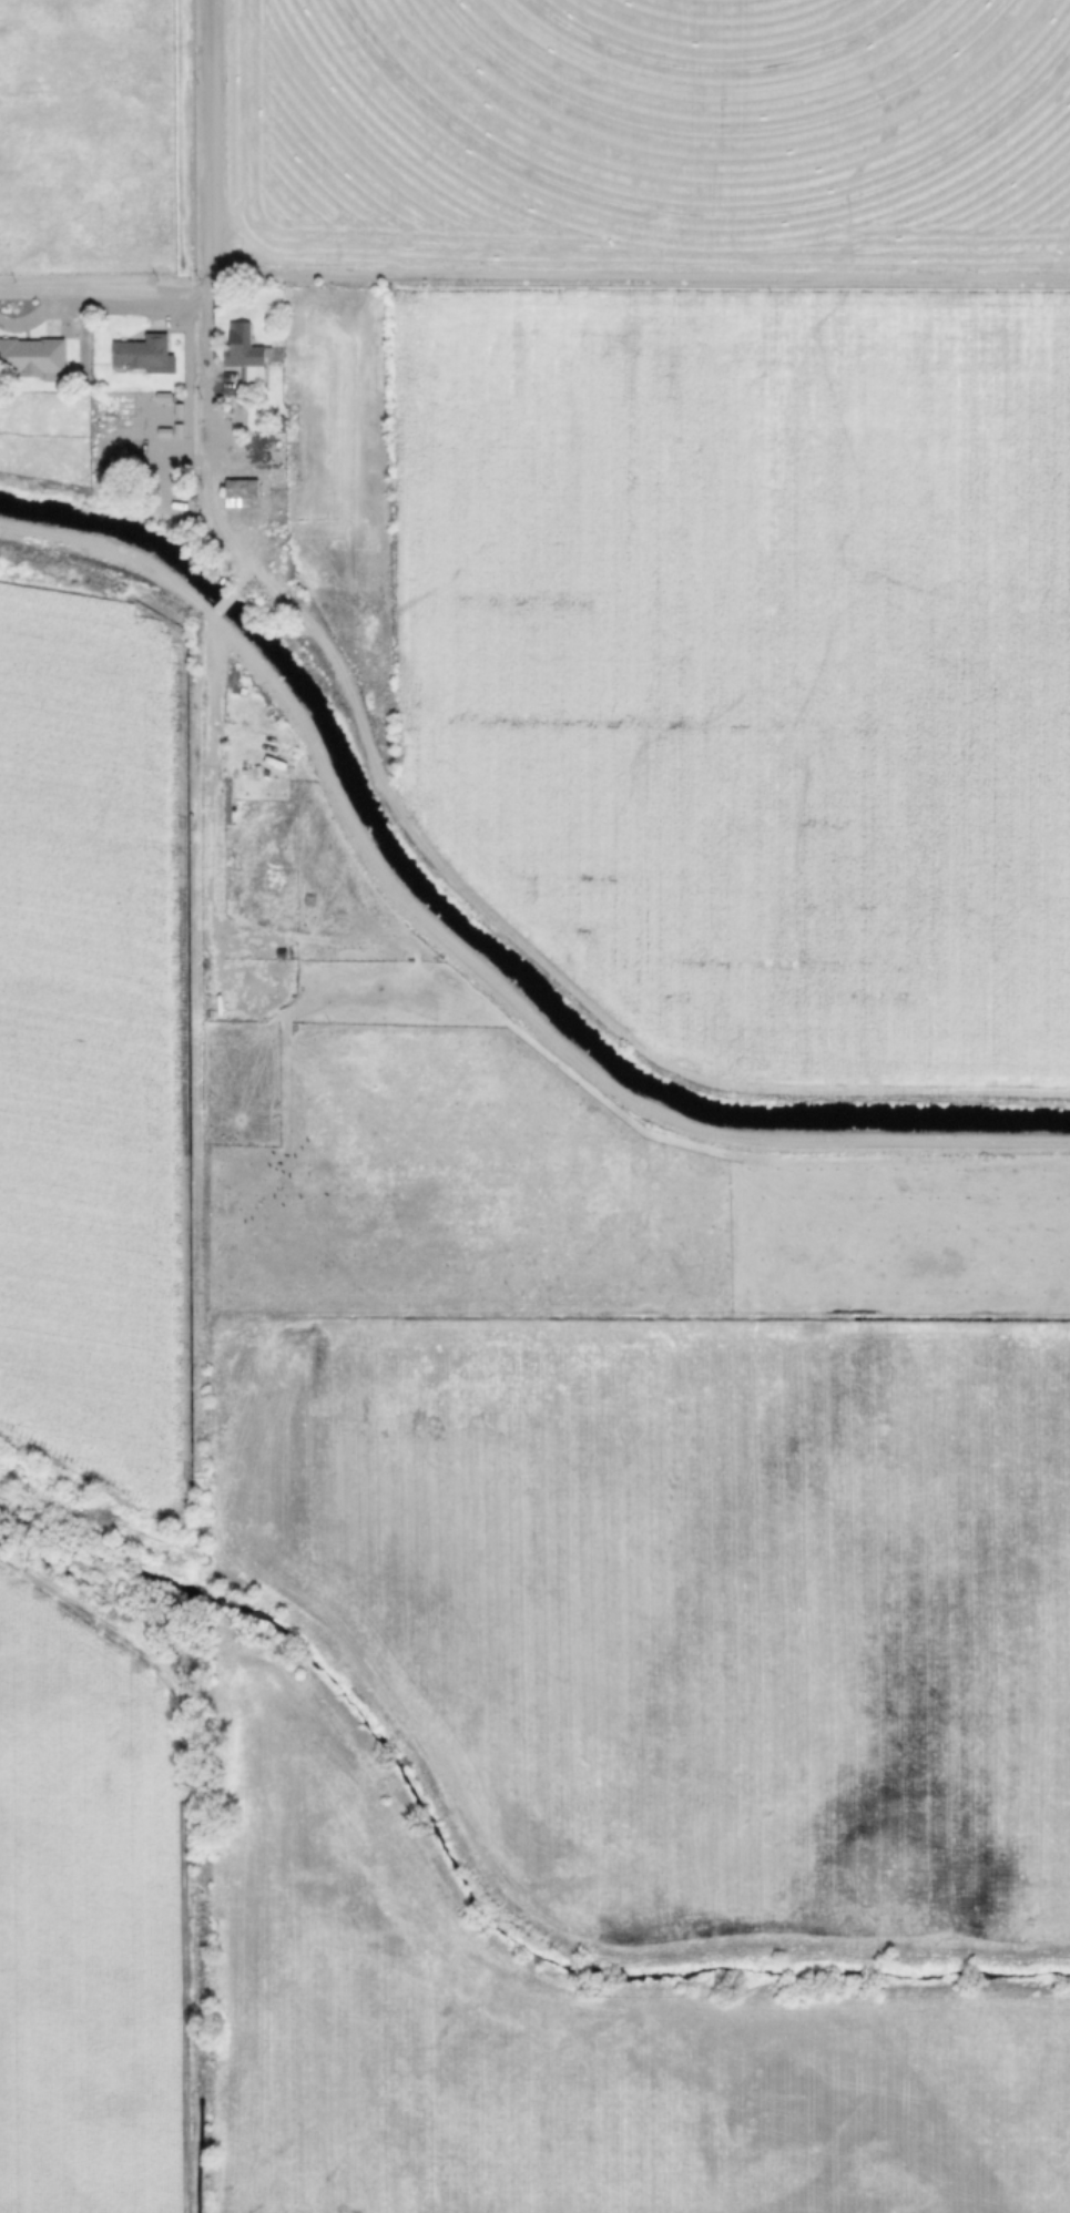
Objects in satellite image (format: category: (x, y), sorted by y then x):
road: (208, 143)
road: (102, 289)
building: (140, 350)
building: (245, 353)
building: (31, 355)
road: (222, 420)
building: (238, 491)
road: (204, 742)
road: (469, 957)

